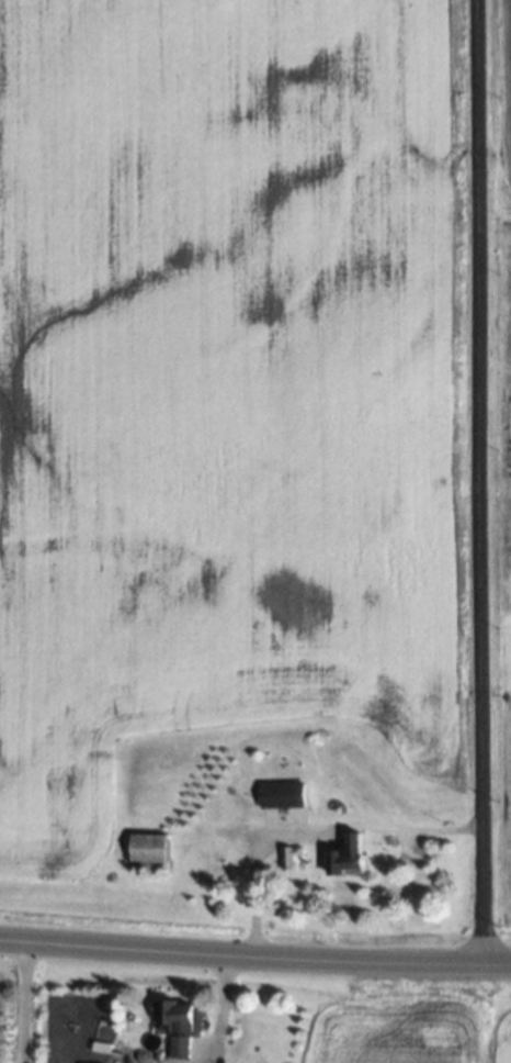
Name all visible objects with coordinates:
road: (481, 483)
building: (280, 794)
road: (316, 835)
building: (146, 847)
building: (344, 855)
road: (254, 959)
road: (23, 1003)
building: (179, 1022)

